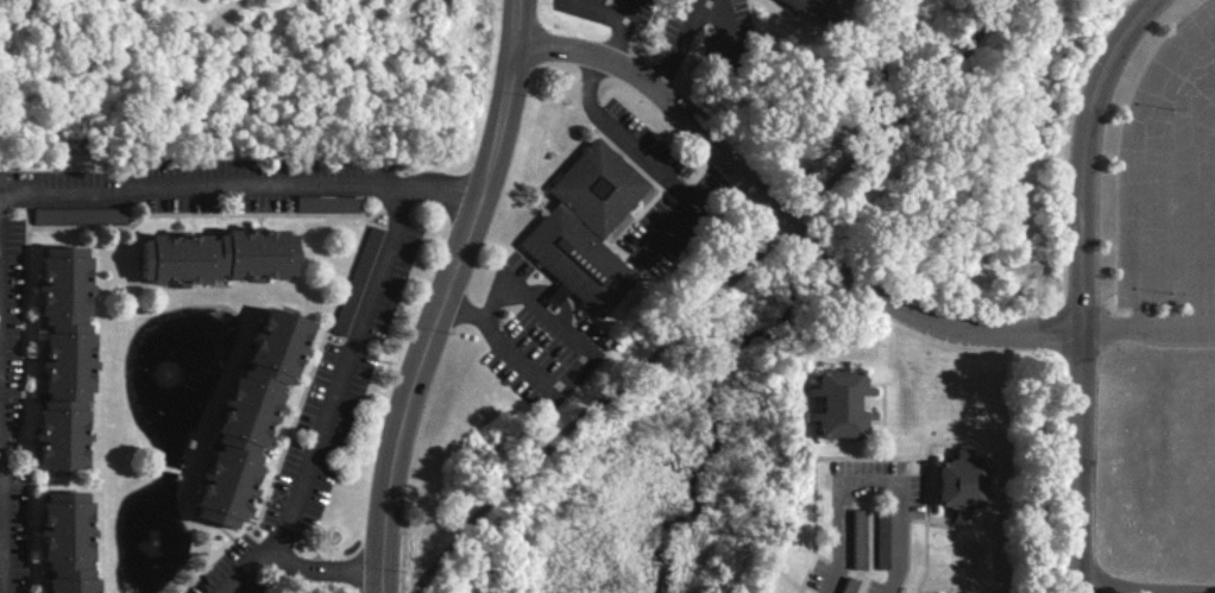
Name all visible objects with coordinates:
road: (587, 10)
building: (819, 10)
road: (616, 31)
road: (679, 45)
road: (1144, 172)
building: (1, 175)
road: (437, 190)
road: (1198, 193)
building: (327, 203)
building: (78, 214)
road: (396, 216)
road: (782, 222)
building: (584, 226)
building: (218, 256)
road: (1079, 284)
road: (449, 296)
road: (711, 301)
road: (1146, 335)
building: (65, 358)
road: (568, 371)
building: (251, 417)
building: (962, 482)
road: (870, 487)
road: (6, 524)
building: (70, 542)
road: (325, 578)
road: (1147, 588)
road: (1081, 589)

